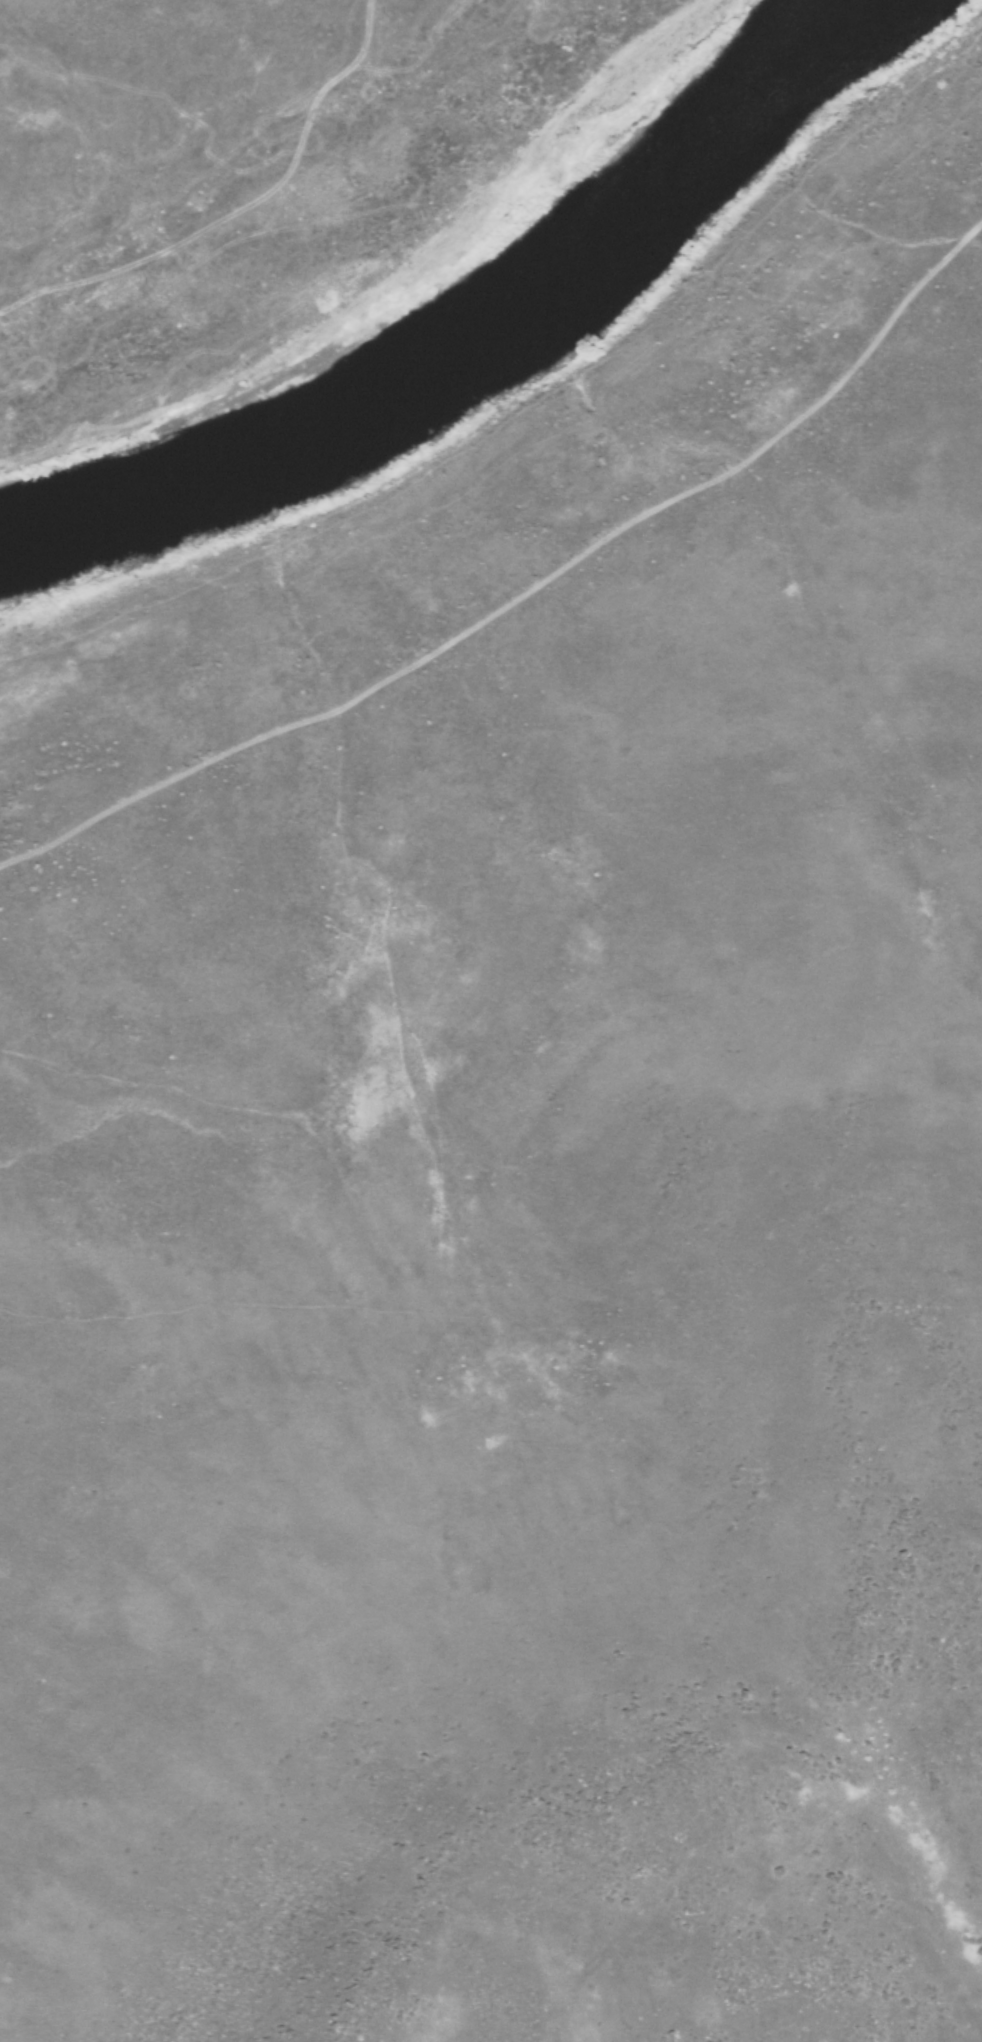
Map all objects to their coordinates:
river: (478, 335)
road: (522, 589)

